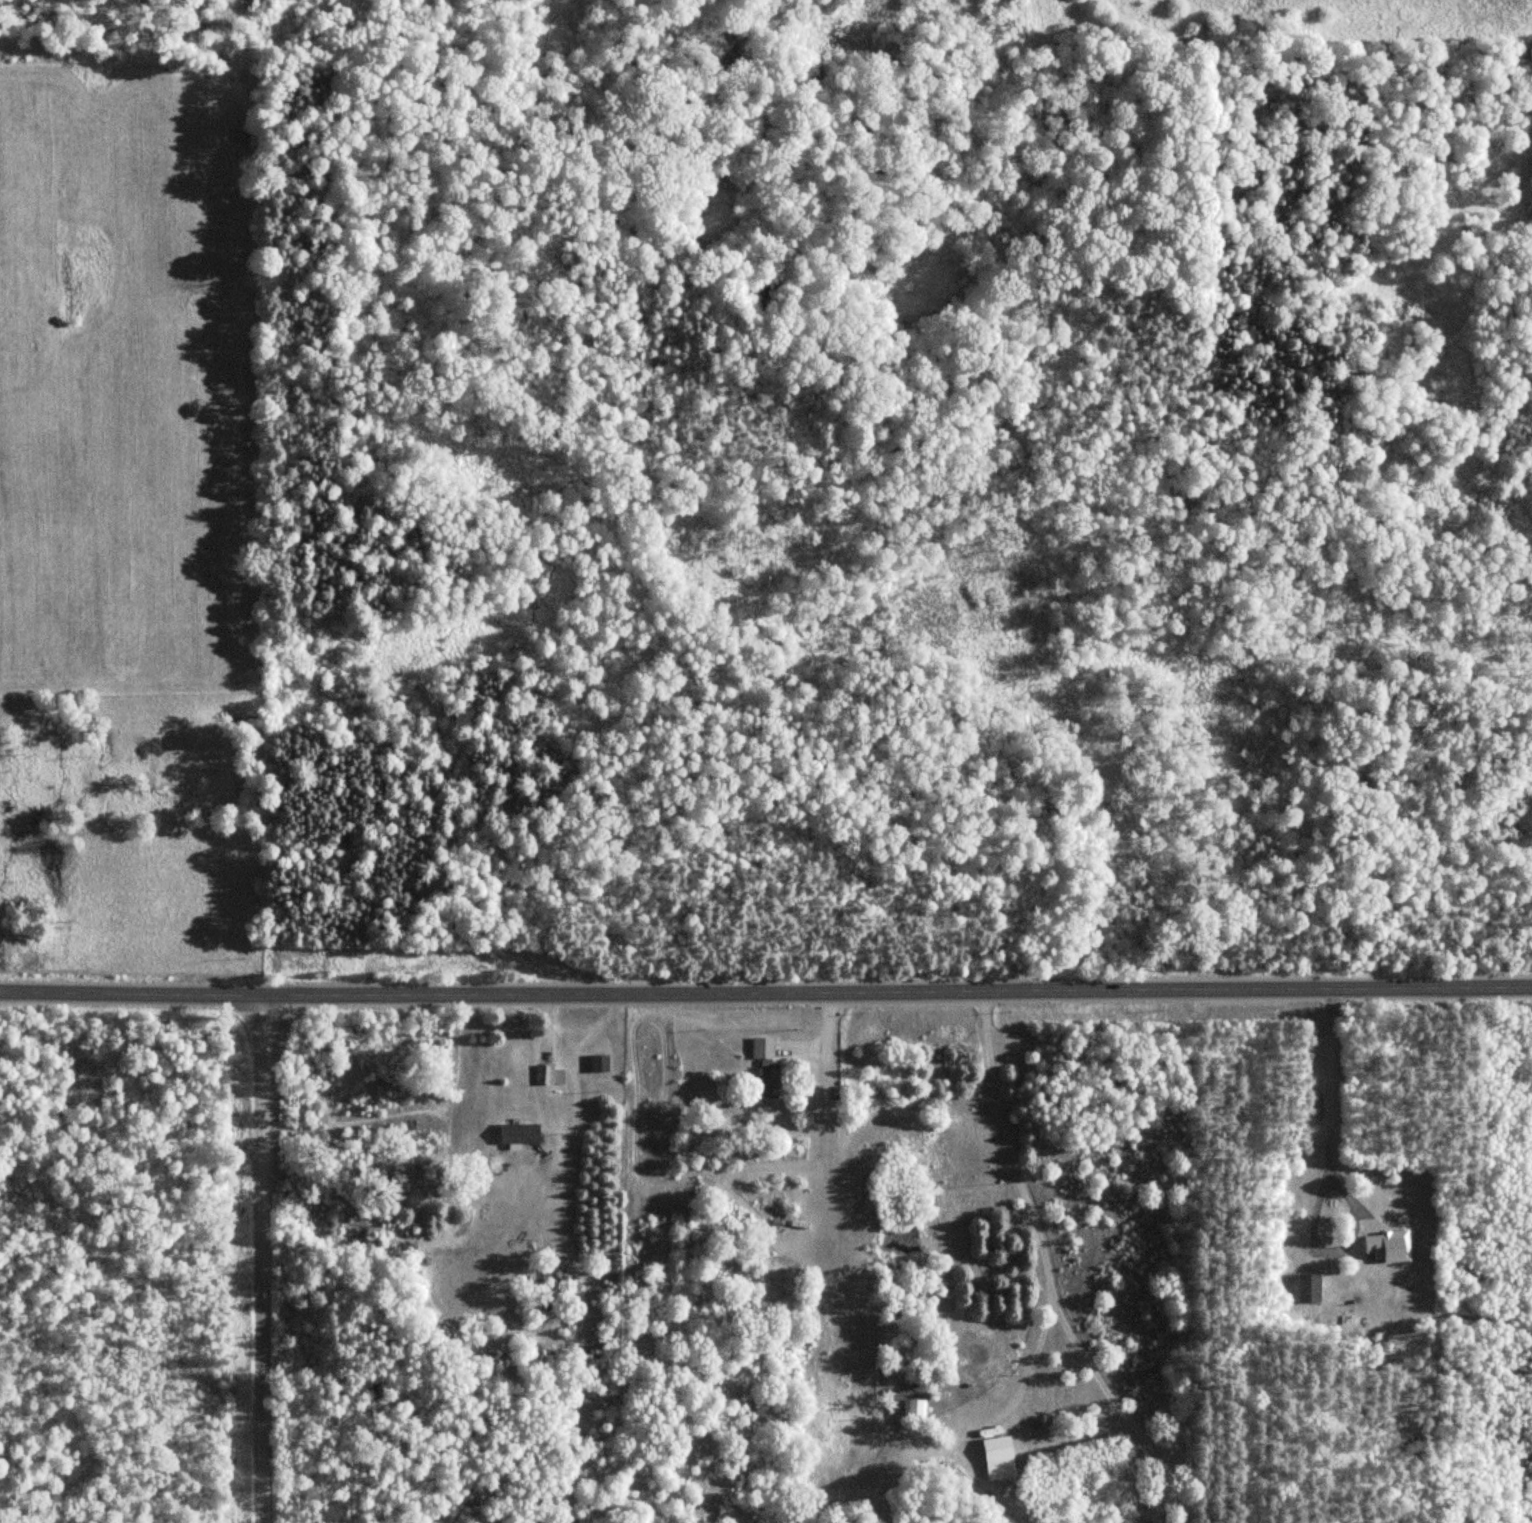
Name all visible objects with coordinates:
road: (766, 989)
building: (598, 1063)
building: (766, 1065)
building: (548, 1074)
building: (520, 1133)
road: (1328, 1173)
building: (1391, 1246)
road: (255, 1257)
building: (566, 1284)
building: (1313, 1288)
building: (914, 1412)
building: (999, 1457)

